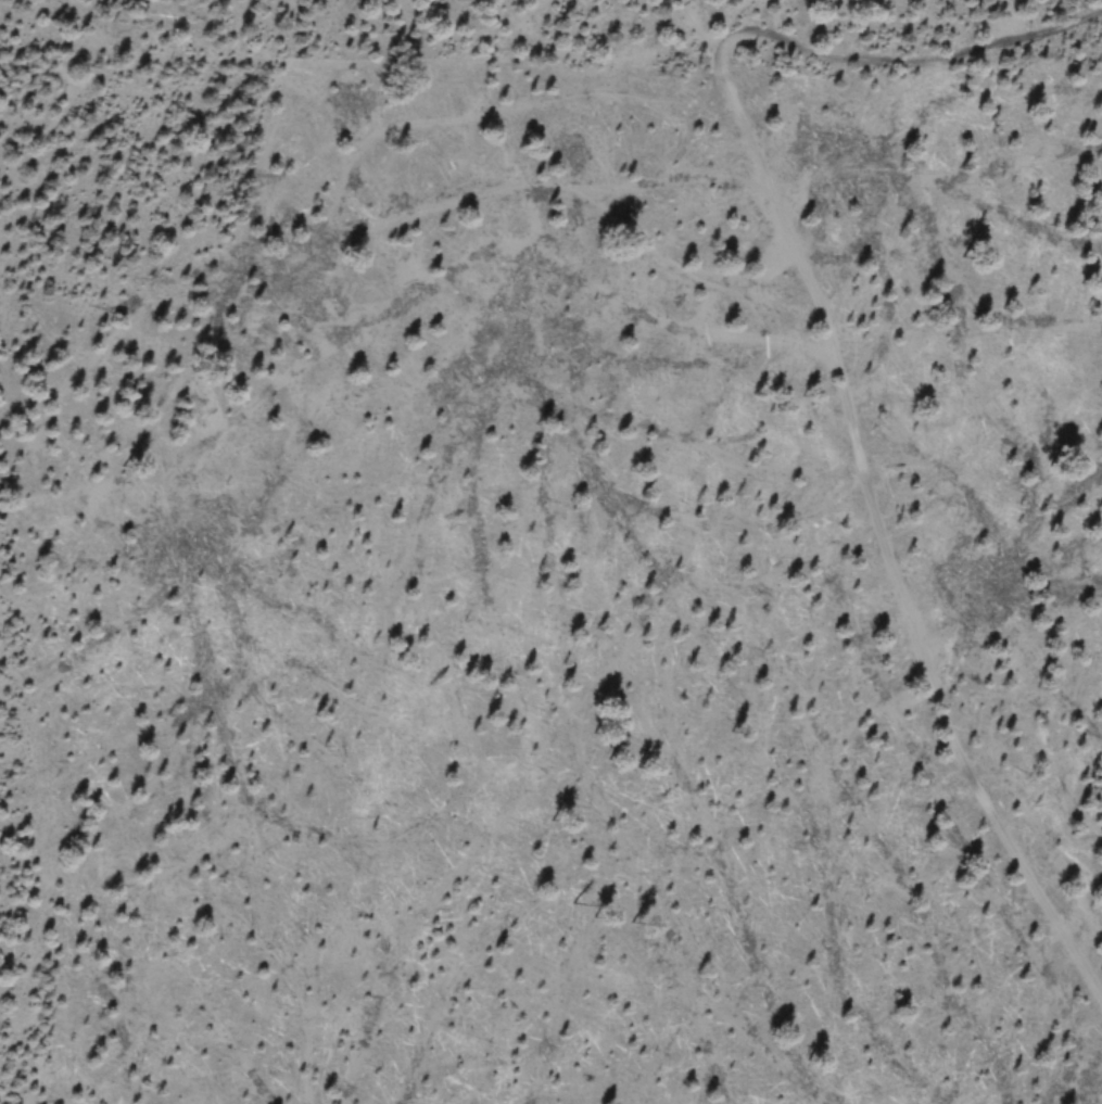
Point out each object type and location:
road: (903, 62)
road: (72, 102)
road: (874, 510)

